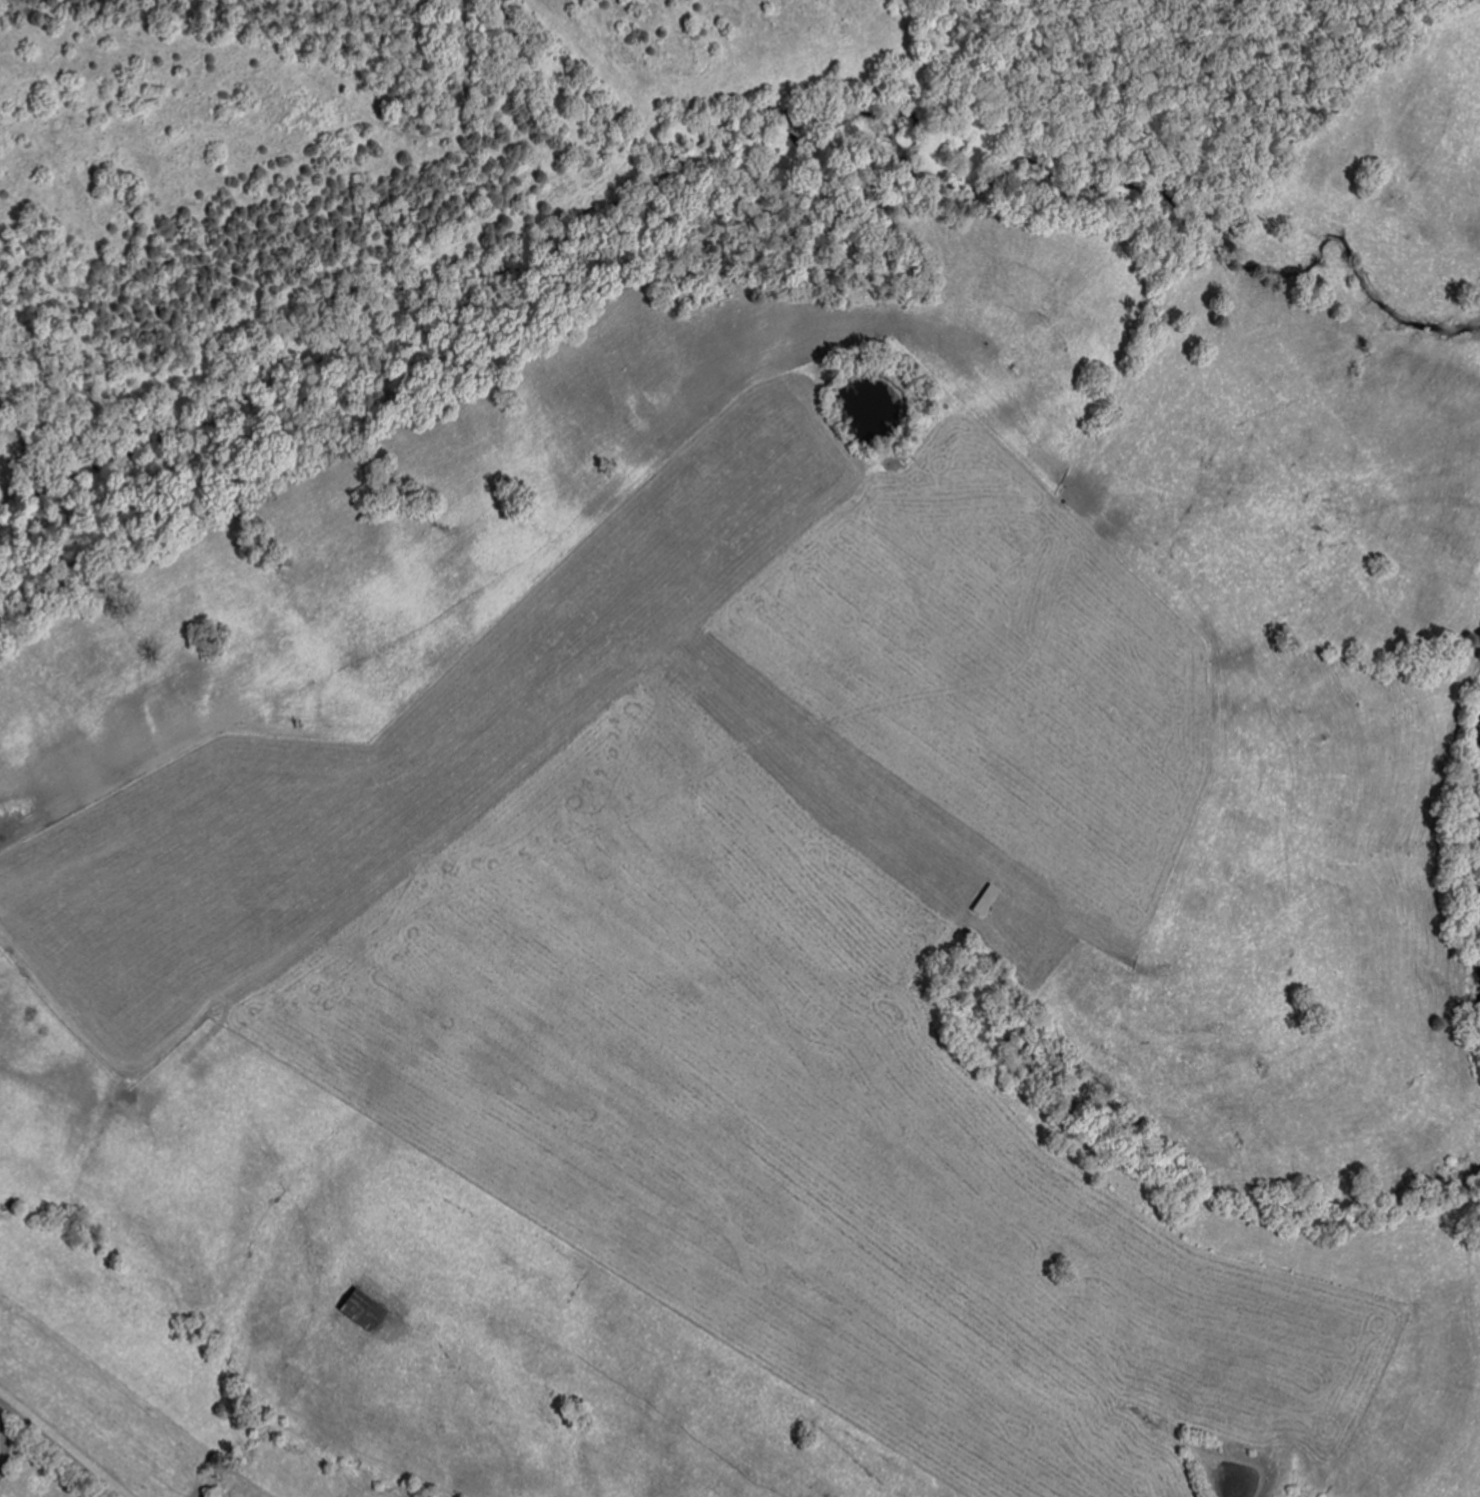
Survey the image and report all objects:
building: (370, 1312)
road: (56, 1452)

